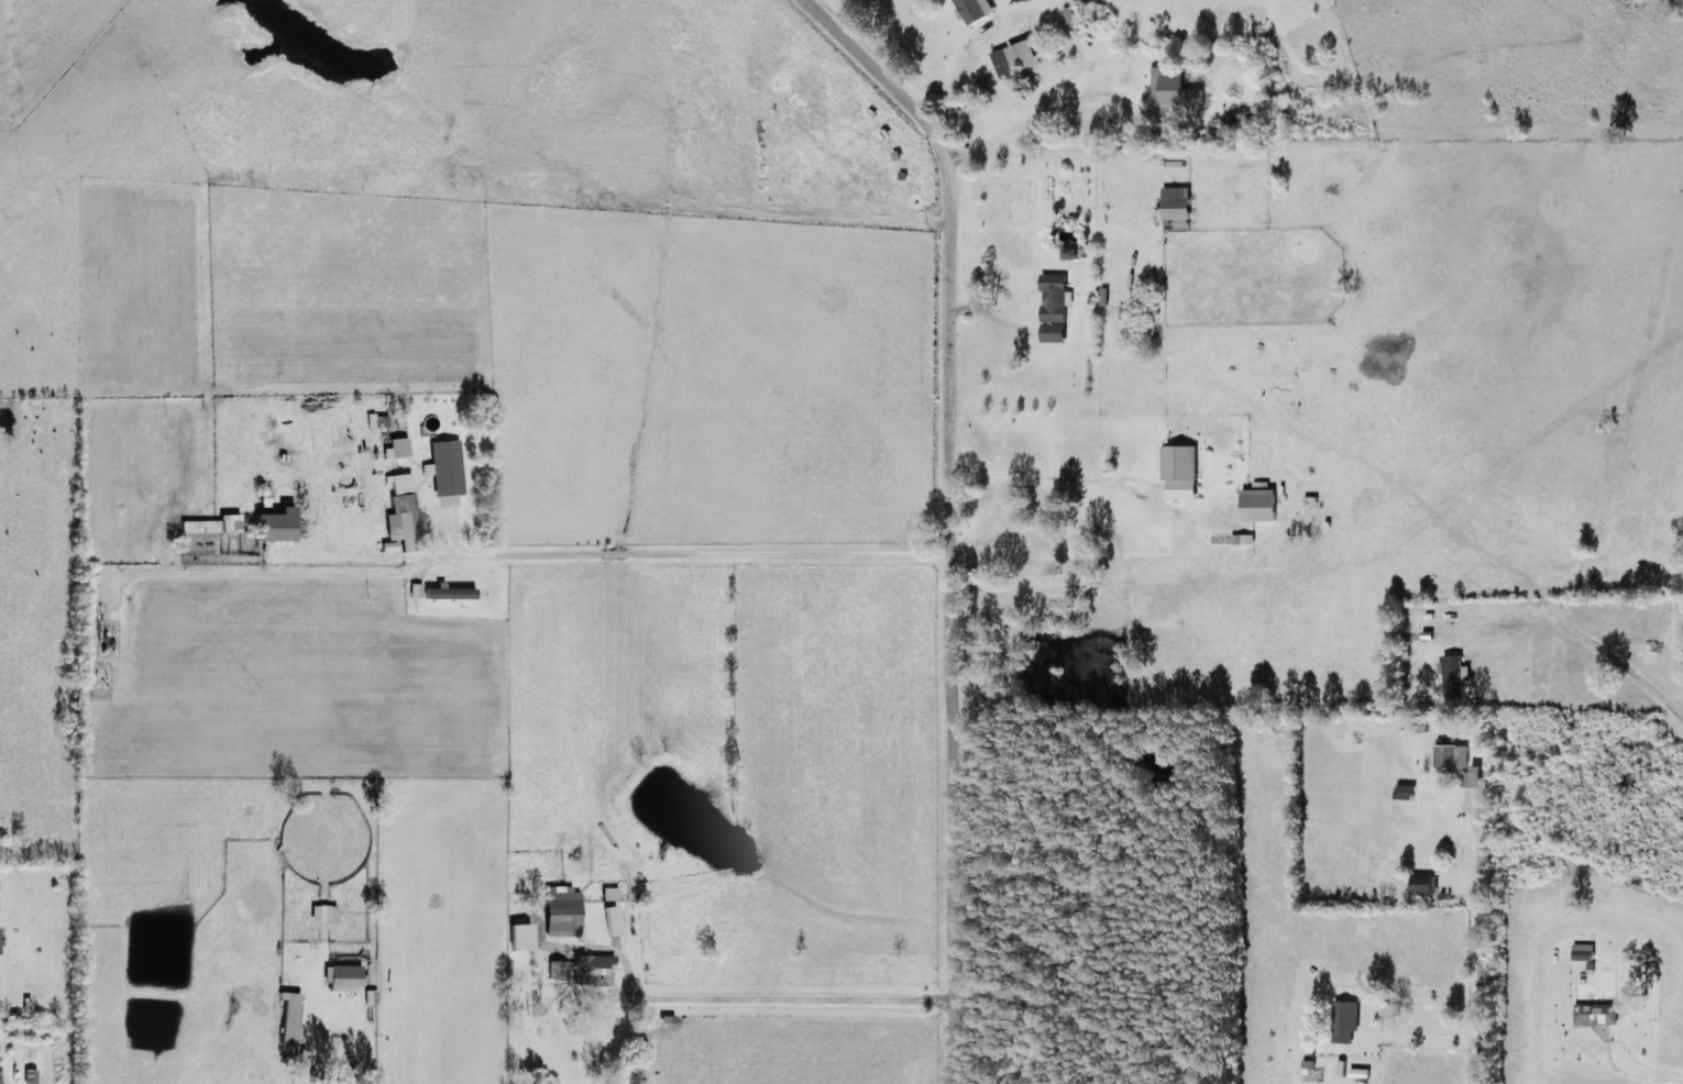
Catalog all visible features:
building: (978, 9)
building: (1019, 56)
building: (1176, 87)
building: (1179, 202)
building: (1071, 252)
building: (1105, 296)
building: (1057, 306)
building: (345, 432)
building: (397, 447)
building: (446, 467)
building: (1182, 471)
road: (1044, 478)
building: (1263, 502)
road: (953, 504)
building: (403, 511)
building: (212, 524)
building: (277, 524)
building: (1244, 539)
road: (717, 553)
building: (451, 593)
building: (1456, 675)
building: (1453, 757)
building: (1474, 776)
building: (1408, 792)
building: (1425, 888)
building: (609, 893)
building: (563, 908)
road: (1487, 910)
building: (323, 912)
building: (522, 937)
building: (0, 951)
building: (557, 969)
building: (593, 970)
building: (343, 976)
road: (798, 994)
building: (1598, 1014)
building: (289, 1018)
building: (1347, 1020)
building: (1310, 1065)
building: (1342, 1068)
building: (30, 1076)

